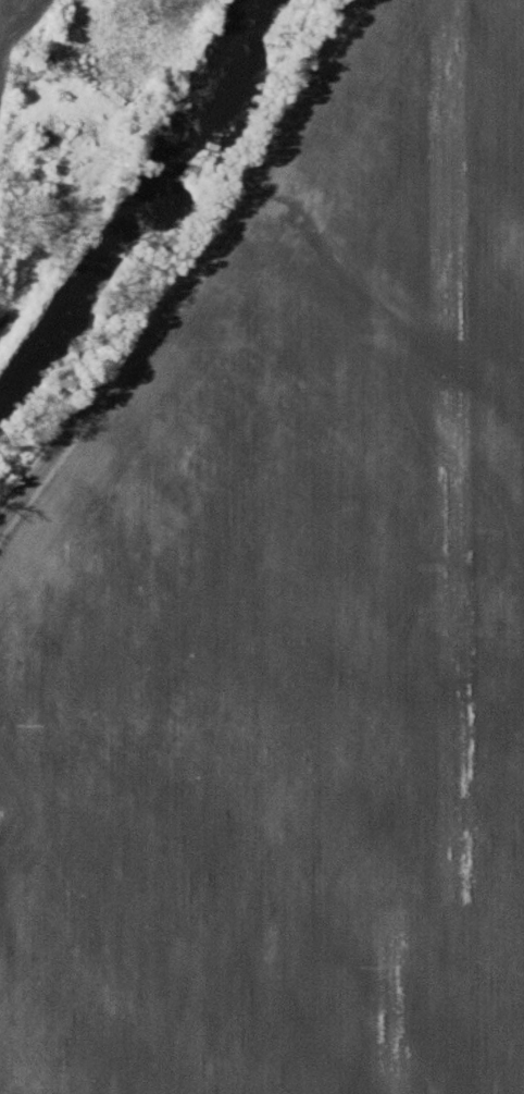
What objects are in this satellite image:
road: (197, 282)

